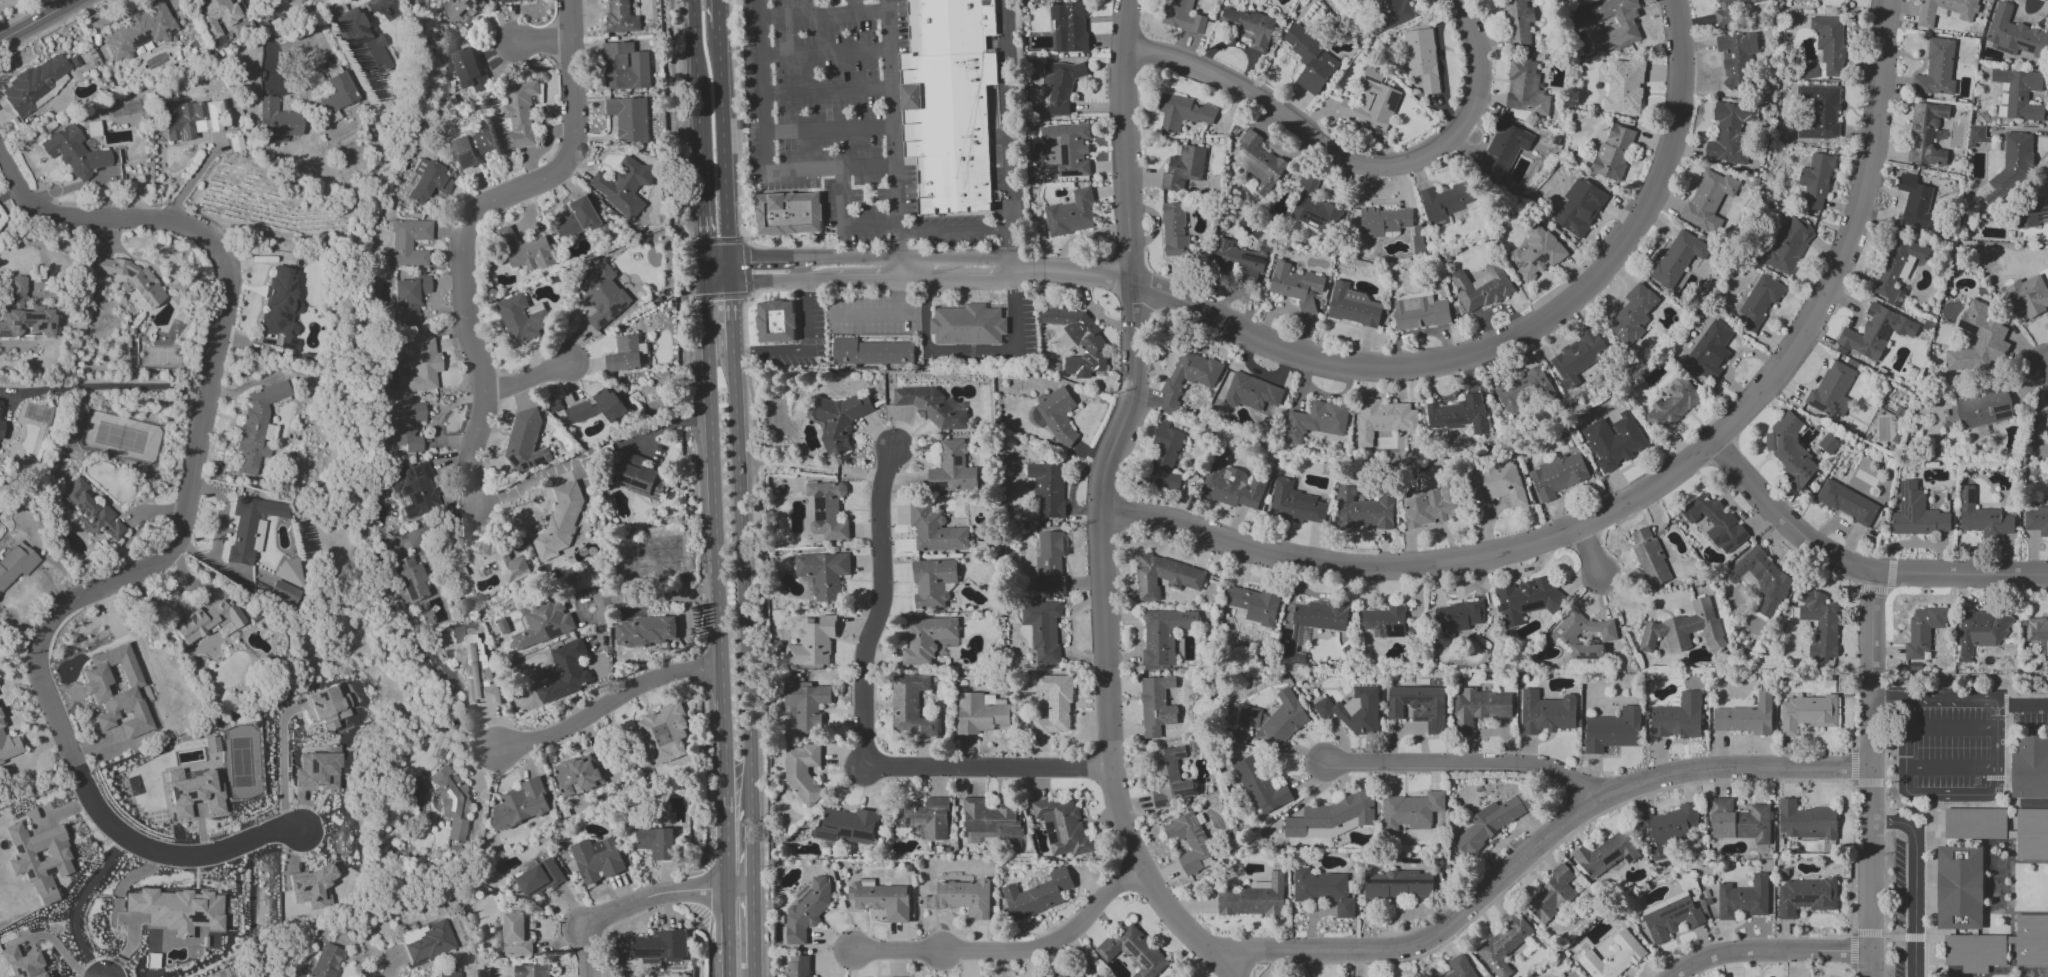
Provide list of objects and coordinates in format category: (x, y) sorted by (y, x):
rooftop solar panel: (479, 1)
rooftop solar panel: (487, 1)
building: (511, 1)
road: (379, 2)
rooftop solar panel: (471, 3)
road: (854, 7)
rooftop solar panel: (479, 8)
building: (460, 9)
building: (1727, 11)
building: (1391, 12)
rooftop solar panel: (464, 13)
building: (215, 15)
road: (717, 15)
road: (823, 15)
building: (1182, 16)
building: (1925, 16)
building: (622, 18)
road: (37, 20)
building: (1518, 21)
building: (1068, 25)
building: (949, 26)
building: (1248, 26)
building: (1626, 28)
rooftop solar panel: (166, 30)
rooftop solar panel: (361, 30)
building: (137, 31)
rooftop solar panel: (346, 31)
building: (2013, 34)
rooftop solar panel: (140, 39)
rooftop solar panel: (358, 40)
building: (363, 41)
road: (263, 42)
road: (541, 43)
building: (1825, 48)
road: (826, 52)
building: (1421, 58)
building: (1736, 58)
building: (1311, 61)
building: (625, 66)
building: (1936, 69)
building: (468, 70)
rooftop solar panel: (1371, 79)
building: (34, 85)
road: (694, 85)
building: (1060, 85)
building: (1624, 87)
building: (1524, 88)
rooftop solar panel: (39, 91)
building: (334, 92)
road: (828, 92)
building: (2020, 93)
rooftop solar panel: (1392, 101)
building: (1371, 102)
building: (947, 104)
building: (1182, 112)
building: (1819, 113)
building: (518, 115)
parking lot: (836, 117)
rooftop solar panel: (1928, 117)
rooftop solar panel: (1942, 117)
building: (277, 119)
building: (631, 119)
building: (191, 120)
road: (1005, 129)
road: (829, 130)
building: (1730, 132)
building: (1926, 134)
rooftop solar panel: (1930, 134)
building: (1977, 134)
road: (723, 145)
building: (471, 146)
road: (766, 149)
building: (1067, 149)
building: (1502, 151)
building: (1613, 151)
building: (75, 152)
rooftop solar panel: (466, 161)
building: (1258, 162)
road: (1350, 164)
building: (1183, 168)
building: (2013, 169)
rooftop solar panel: (1068, 174)
building: (103, 176)
road: (190, 179)
building: (426, 181)
building: (1815, 182)
building: (622, 185)
building: (953, 185)
road: (895, 188)
building: (1707, 198)
building: (1445, 201)
building: (1915, 203)
building: (1314, 207)
building: (1579, 207)
building: (2030, 212)
rooftop solar panel: (2043, 212)
road: (699, 214)
building: (789, 214)
building: (1070, 214)
building: (577, 218)
building: (1383, 221)
road: (845, 222)
road: (467, 227)
road: (951, 229)
building: (1173, 231)
traffic signals: (701, 238)
building: (407, 242)
building: (1789, 245)
building: (525, 251)
building: (1536, 253)
road: (842, 257)
road: (923, 258)
road: (985, 258)
rooftop solar panel: (1543, 258)
building: (1677, 258)
road: (744, 259)
traffic signals: (749, 259)
building: (1236, 261)
rooftop solar panel: (1533, 262)
rooftop solar panel: (1520, 265)
building: (1898, 268)
road: (729, 271)
road: (1014, 274)
rooftop solar panel: (290, 277)
building: (132, 279)
road: (781, 281)
road: (867, 281)
road: (933, 281)
road: (988, 281)
traffic signals: (751, 282)
road: (716, 283)
building: (1296, 286)
rooftop solar panel: (289, 287)
building: (1481, 287)
building: (2029, 294)
building: (603, 296)
rooftop solar panel: (287, 299)
building: (409, 299)
building: (1759, 301)
traffic signals: (729, 302)
road: (807, 304)
building: (1353, 306)
rooftop solar panel: (613, 307)
building: (280, 308)
rooftop solar panel: (284, 309)
building: (1420, 312)
rooftop solar panel: (280, 313)
building: (24, 314)
building: (1633, 314)
rooftop solar panel: (288, 317)
road: (729, 317)
rooftop solar panel: (32, 318)
building: (519, 319)
building: (776, 321)
rooftop solar panel: (601, 323)
parking lot: (819, 323)
rooftop solar panel: (279, 324)
building: (967, 325)
rooftop solar panel: (49, 327)
rooftop solar panel: (20, 328)
rooftop solar panel: (1968, 328)
rooftop solar panel: (40, 329)
building: (1078, 332)
building: (1875, 332)
building: (1978, 340)
road: (769, 350)
building: (1709, 351)
building: (871, 352)
road: (968, 352)
building: (624, 354)
road: (1462, 355)
building: (1578, 357)
building: (420, 364)
building: (1187, 378)
road: (523, 379)
road: (109, 388)
building: (1524, 390)
building: (1831, 390)
building: (1251, 392)
building: (1671, 404)
building: (595, 407)
building: (933, 407)
rooftop solar panel: (1816, 407)
rooftop solar panel: (1835, 408)
building: (1983, 408)
rooftop solar panel: (2001, 408)
building: (1055, 414)
building: (1459, 414)
building: (2046, 416)
rooftop solar panel: (2001, 417)
building: (1383, 419)
building: (840, 421)
building: (1315, 421)
building: (406, 425)
road: (661, 425)
building: (256, 426)
building: (1, 428)
building: (1613, 440)
building: (526, 441)
building: (1828, 443)
building: (1790, 451)
building: (1165, 459)
rooftop solar panel: (539, 460)
rooftop solar panel: (514, 463)
rooftop solar panel: (529, 464)
rooftop solar panel: (523, 465)
building: (952, 469)
rooftop solar panel: (414, 470)
rooftop solar panel: (417, 472)
rooftop solar panel: (419, 475)
building: (1557, 475)
building: (639, 477)
building: (1231, 483)
building: (1496, 484)
road: (527, 485)
rooftop solar panel: (627, 485)
building: (413, 488)
building: (1047, 488)
road: (1647, 489)
rooftop solar panel: (406, 490)
rooftop solar panel: (1904, 490)
rooftop solar panel: (655, 493)
rooftop solar panel: (1963, 494)
rooftop solar panel: (1972, 494)
rooftop solar panel: (1971, 500)
building: (1846, 502)
rooftop solar panel: (818, 503)
rooftop solar panel: (69, 504)
building: (1294, 504)
road: (1102, 505)
building: (1430, 505)
rooftop solar panel: (83, 507)
rooftop solar panel: (1966, 509)
building: (90, 510)
building: (827, 510)
building: (1363, 510)
rooftop solar panel: (1906, 510)
building: (1916, 513)
rooftop solar panel: (818, 516)
building: (1981, 517)
building: (2037, 521)
building: (559, 522)
building: (1715, 522)
rooftop solar panel: (89, 524)
road: (712, 524)
building: (250, 527)
building: (935, 530)
rooftop solar panel: (109, 532)
rooftop solar panel: (120, 535)
road: (170, 547)
building: (1649, 557)
rooftop solar panel: (1750, 557)
building: (493, 558)
building: (1049, 560)
building: (15, 563)
road: (1857, 564)
rooftop solar panel: (1750, 567)
rooftop solar panel: (1735, 569)
rooftop solar panel: (1756, 570)
rooftop solar panel: (1742, 572)
building: (823, 573)
building: (406, 576)
building: (1164, 576)
building: (1760, 579)
building: (932, 582)
road: (1609, 584)
building: (285, 593)
road: (655, 594)
building: (1527, 598)
building: (1254, 604)
road: (741, 620)
building: (204, 621)
building: (1453, 621)
building: (543, 622)
building: (1382, 622)
building: (1819, 623)
building: (1313, 625)
building: (1042, 629)
building: (1685, 629)
building: (1922, 630)
building: (645, 631)
rooftop solar panel: (551, 632)
rooftop solar panel: (1559, 632)
building: (1980, 632)
building: (1564, 633)
building: (1163, 635)
building: (2038, 635)
building: (928, 639)
building: (812, 642)
rooftop solar panel: (1563, 645)
rooftop solar panel: (1587, 658)
building: (476, 671)
building: (565, 672)
building: (115, 690)
road: (1890, 698)
building: (993, 700)
road: (606, 704)
building: (1054, 704)
building: (805, 705)
building: (910, 705)
building: (1156, 705)
building: (1418, 705)
road: (2022, 705)
building: (327, 707)
building: (1479, 708)
building: (1353, 710)
building: (1547, 712)
building: (1806, 713)
building: (980, 714)
building: (1746, 716)
building: (1678, 717)
building: (1275, 719)
road: (1951, 727)
road: (863, 728)
building: (1612, 730)
building: (664, 733)
parking lot: (1955, 739)
building: (8, 748)
road: (2006, 754)
road: (1464, 763)
road: (1951, 766)
building: (2030, 766)
building: (318, 769)
road: (282, 770)
road: (1871, 774)
building: (577, 775)
building: (1170, 776)
building: (1260, 786)
road: (1992, 792)
building: (193, 793)
rooftop solar panel: (1187, 793)
rooftop solar panel: (1143, 801)
road: (2027, 803)
building: (519, 804)
building: (452, 805)
rooftop solar panel: (1161, 807)
building: (1411, 811)
building: (924, 817)
building: (1333, 817)
building: (1805, 820)
building: (1739, 821)
building: (990, 822)
building: (1489, 824)
building: (847, 825)
rooftop solar panel: (1049, 825)
building: (1062, 826)
rooftop solar panel: (1194, 828)
building: (2002, 828)
building: (1668, 829)
rooftop solar panel: (1050, 832)
rooftop solar panel: (1198, 833)
road: (721, 840)
rooftop solar panel: (1050, 840)
building: (654, 842)
building: (1190, 842)
road: (1971, 842)
rooftop solar panel: (1200, 844)
road: (1537, 849)
building: (1605, 854)
rooftop solar panel: (1608, 856)
building: (39, 859)
building: (595, 859)
rooftop solar panel: (1627, 859)
road: (1932, 871)
building: (539, 877)
road: (1915, 881)
building: (1397, 884)
building: (311, 887)
building: (1960, 887)
building: (1323, 890)
building: (1037, 894)
building: (1551, 895)
building: (1804, 896)
building: (958, 897)
building: (1254, 898)
building: (1743, 898)
building: (881, 899)
rooftop solar panel: (1805, 900)
road: (638, 902)
parking lot: (1909, 905)
building: (179, 913)
building: (805, 913)
building: (1670, 916)
road: (751, 930)
road: (723, 933)
road: (1971, 935)
road: (1900, 937)
building: (425, 941)
building: (1503, 941)
road: (2010, 942)
building: (660, 946)
building: (1999, 946)
road: (1008, 950)
rooftop solar panel: (1132, 951)
building: (1133, 951)
road: (1766, 952)
building: (1613, 957)
building: (323, 962)
rooftop solar panel: (1147, 962)
building: (22, 963)
building: (797, 966)
building: (1459, 967)
building: (531, 970)
building: (1065, 973)
building: (447, 974)
road: (752, 974)
building: (1100, 975)
building: (1571, 975)

